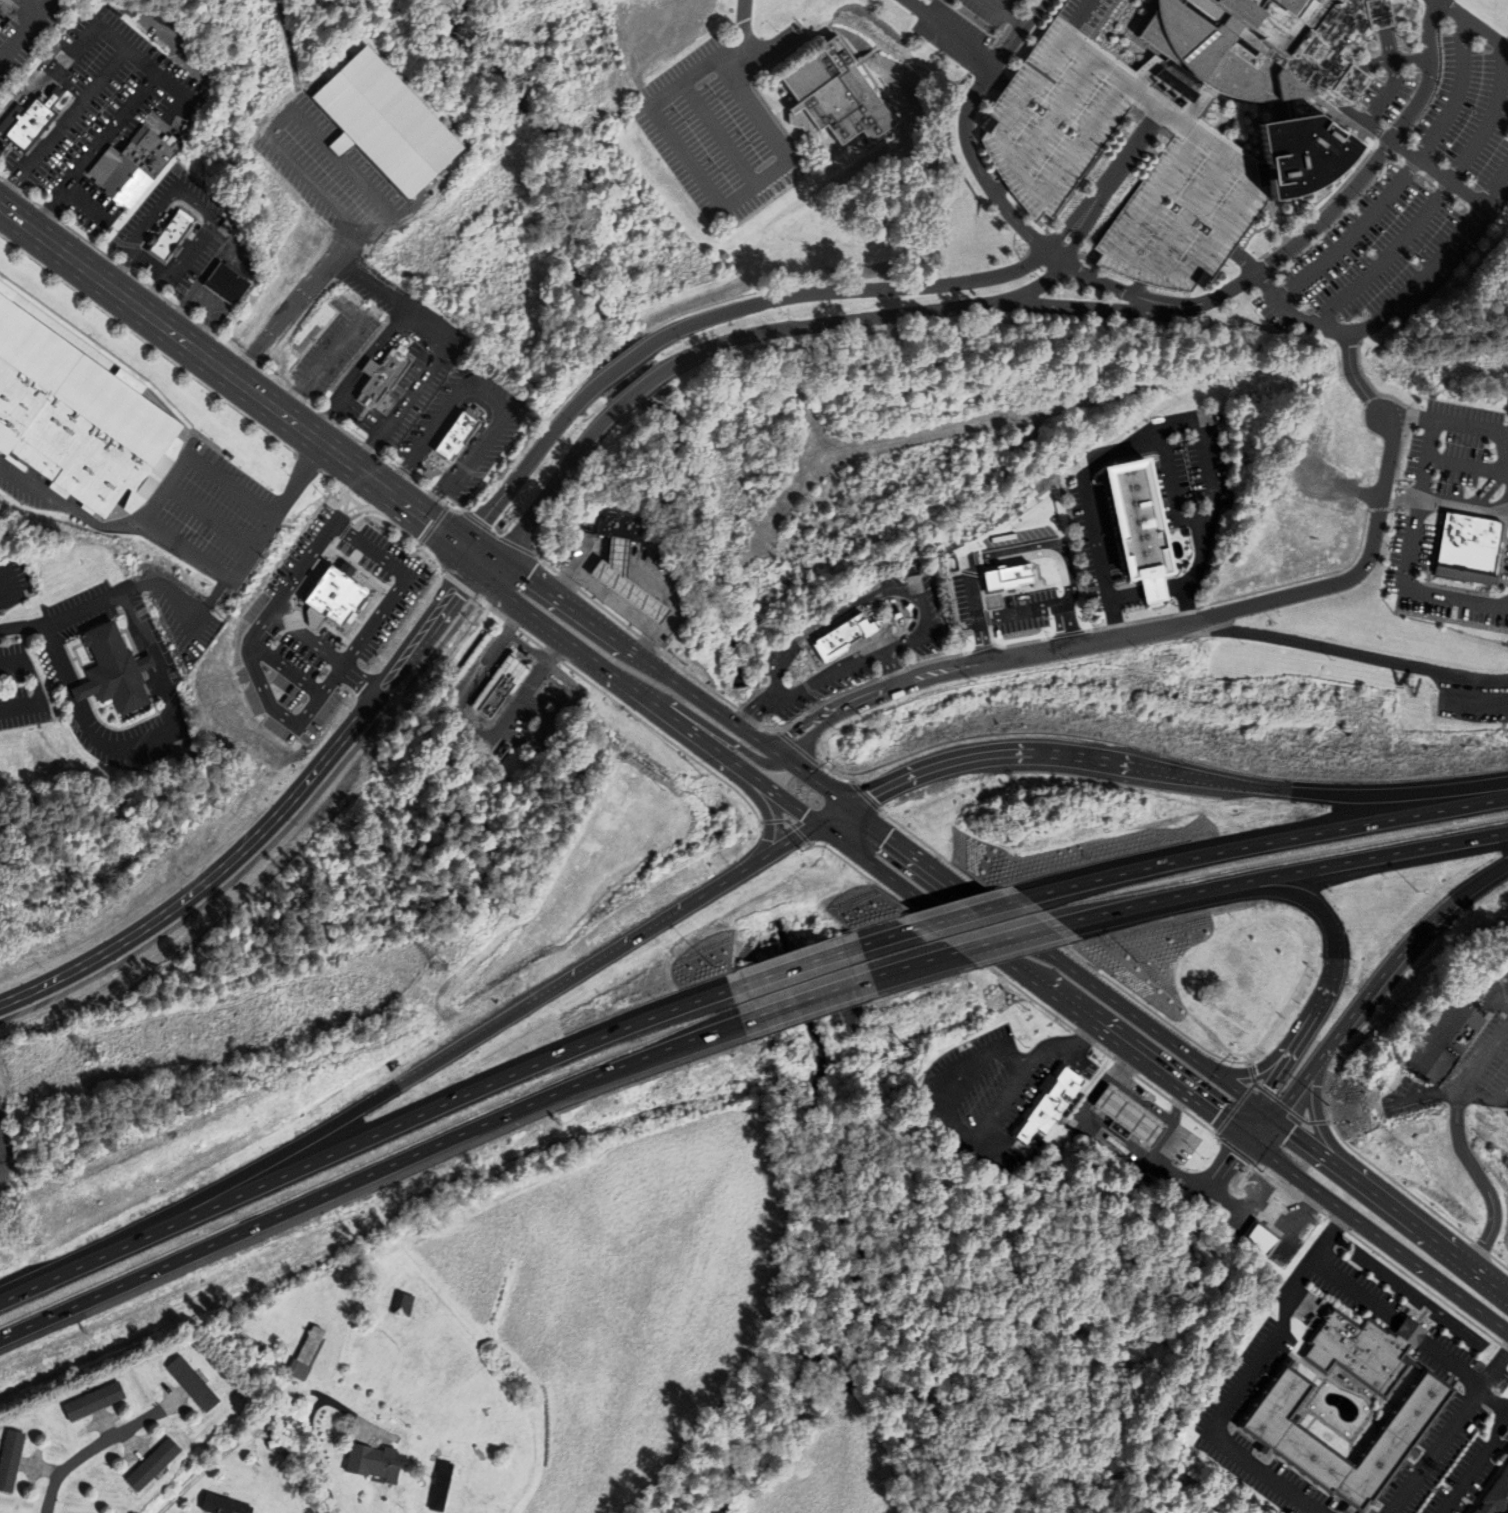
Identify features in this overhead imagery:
parking lot: (64, 3)
road: (34, 5)
road: (45, 5)
building: (1, 10)
road: (1002, 12)
parking lot: (22, 20)
road: (1383, 30)
road: (1015, 32)
road: (20, 37)
road: (844, 37)
road: (850, 38)
road: (810, 44)
building: (1269, 45)
road: (882, 53)
road: (133, 55)
road: (290, 55)
parking lot: (27, 56)
road: (861, 59)
road: (779, 71)
road: (939, 71)
road: (943, 71)
road: (968, 71)
road: (780, 79)
road: (1354, 85)
road: (69, 86)
road: (738, 87)
road: (24, 93)
road: (1386, 93)
building: (832, 95)
road: (793, 111)
parking lot: (90, 114)
building: (33, 119)
parking lot: (32, 121)
road: (302, 121)
building: (387, 122)
parking lot: (723, 123)
road: (55, 133)
road: (719, 134)
road: (677, 145)
road: (6, 150)
road: (94, 151)
building: (1042, 152)
parking lot: (1042, 152)
road: (1129, 153)
building: (1302, 156)
parking lot: (302, 160)
building: (136, 165)
parking lot: (5, 170)
road: (773, 170)
road: (796, 170)
road: (1454, 170)
road: (1433, 171)
road: (1401, 176)
road: (2, 177)
parking lot: (9, 184)
parking lot: (360, 186)
parking lot: (18, 192)
parking lot: (1402, 192)
parking lot: (34, 194)
road: (1097, 197)
road: (30, 198)
road: (193, 199)
road: (87, 204)
parking lot: (50, 215)
building: (171, 236)
road: (88, 241)
parking lot: (186, 245)
parking lot: (356, 255)
parking lot: (345, 272)
road: (201, 277)
road: (139, 278)
building: (228, 282)
road: (846, 290)
road: (1400, 298)
road: (167, 299)
road: (1156, 302)
road: (293, 305)
road: (203, 308)
road: (1091, 308)
road: (192, 317)
road: (862, 319)
building: (315, 329)
parking lot: (341, 338)
parking lot: (352, 338)
road: (224, 342)
road: (227, 343)
road: (443, 345)
road: (156, 350)
parking lot: (404, 353)
road: (624, 363)
road: (322, 364)
road: (293, 366)
road: (360, 372)
building: (382, 374)
road: (273, 377)
road: (1353, 377)
parking lot: (288, 383)
parking lot: (377, 387)
road: (247, 389)
road: (636, 392)
parking lot: (319, 395)
parking lot: (298, 397)
parking lot: (309, 397)
road: (483, 399)
road: (379, 403)
road: (313, 405)
building: (81, 411)
road: (1406, 417)
parking lot: (328, 420)
road: (1483, 426)
road: (345, 432)
road: (348, 432)
building: (460, 432)
road: (460, 432)
road: (457, 435)
road: (1132, 439)
road: (206, 440)
parking lot: (487, 443)
parking lot: (371, 451)
road: (388, 460)
road: (527, 464)
road: (1467, 464)
parking lot: (266, 470)
road: (1206, 472)
road: (420, 485)
road: (1170, 486)
road: (166, 487)
road: (232, 487)
road: (342, 487)
road: (1485, 490)
road: (551, 491)
road: (1443, 505)
road: (448, 506)
road: (67, 507)
parking lot: (221, 508)
road: (279, 512)
parking lot: (1189, 518)
road: (209, 519)
building: (622, 525)
building: (1138, 529)
road: (403, 532)
road: (494, 534)
road: (1096, 539)
building: (1466, 548)
road: (188, 550)
road: (1187, 552)
road: (1411, 553)
road: (1200, 554)
traffic signals: (479, 558)
road: (539, 563)
road: (1353, 574)
building: (321, 580)
parking lot: (13, 581)
building: (632, 581)
road: (1125, 585)
road: (7, 588)
road: (1144, 592)
road: (912, 602)
road: (1152, 618)
building: (680, 625)
road: (21, 627)
road: (1133, 634)
building: (842, 635)
building: (409, 644)
road: (555, 646)
road: (1001, 646)
road: (520, 648)
road: (581, 649)
road: (811, 652)
road: (804, 654)
road: (80, 662)
building: (471, 663)
road: (810, 664)
road: (796, 665)
road: (890, 666)
road: (84, 669)
building: (117, 670)
parking lot: (516, 670)
parking lot: (58, 674)
road: (82, 683)
parking lot: (504, 684)
road: (676, 684)
building: (505, 685)
parking lot: (531, 685)
road: (37, 688)
parking lot: (21, 690)
parking lot: (478, 698)
parking lot: (491, 698)
road: (546, 698)
road: (94, 712)
road: (454, 712)
road: (752, 715)
road: (177, 719)
road: (728, 742)
parking lot: (508, 746)
road: (1047, 755)
building: (193, 758)
road: (743, 786)
road: (1380, 795)
traffic signals: (871, 796)
power tower: (1055, 811)
traffic signals: (806, 815)
road: (836, 817)
road: (273, 819)
traffic signals: (889, 837)
road: (842, 842)
road: (1260, 843)
road: (785, 847)
road: (1276, 875)
road: (1486, 878)
road: (953, 884)
road: (1206, 900)
road: (968, 913)
road: (890, 935)
road: (1002, 940)
road: (618, 950)
road: (914, 964)
power tower: (441, 966)
road: (793, 966)
road: (1388, 969)
road: (804, 999)
building: (1446, 1041)
road: (1294, 1044)
road: (1124, 1050)
power tower: (87, 1052)
road: (1467, 1078)
road: (1287, 1101)
building: (1046, 1103)
road: (1176, 1110)
road: (419, 1114)
road: (1156, 1115)
road: (1081, 1116)
building: (1128, 1117)
gas station: (1128, 1117)
traffic signals: (1275, 1120)
road: (1285, 1127)
traffic signals: (1239, 1135)
road: (1246, 1140)
road: (302, 1143)
power substation: (4, 1144)
road: (1220, 1159)
road: (1233, 1169)
road: (2, 1173)
road: (1174, 1175)
road: (367, 1176)
road: (1480, 1180)
road: (1207, 1188)
building: (1274, 1208)
building: (1260, 1238)
road: (1380, 1239)
road: (57, 1277)
building: (356, 1287)
crop: (631, 1293)
building: (404, 1303)
building: (308, 1352)
building: (334, 1379)
road: (1244, 1381)
building: (194, 1382)
building: (95, 1400)
road: (1493, 1403)
building: (1273, 1408)
road: (310, 1430)
road: (1448, 1432)
building: (1505, 1434)
road: (100, 1442)
building: (277, 1442)
building: (1507, 1454)
building: (11, 1458)
building: (375, 1461)
building: (154, 1463)
crop: (832, 1463)
building: (443, 1486)
building: (1496, 1497)
building: (225, 1504)

